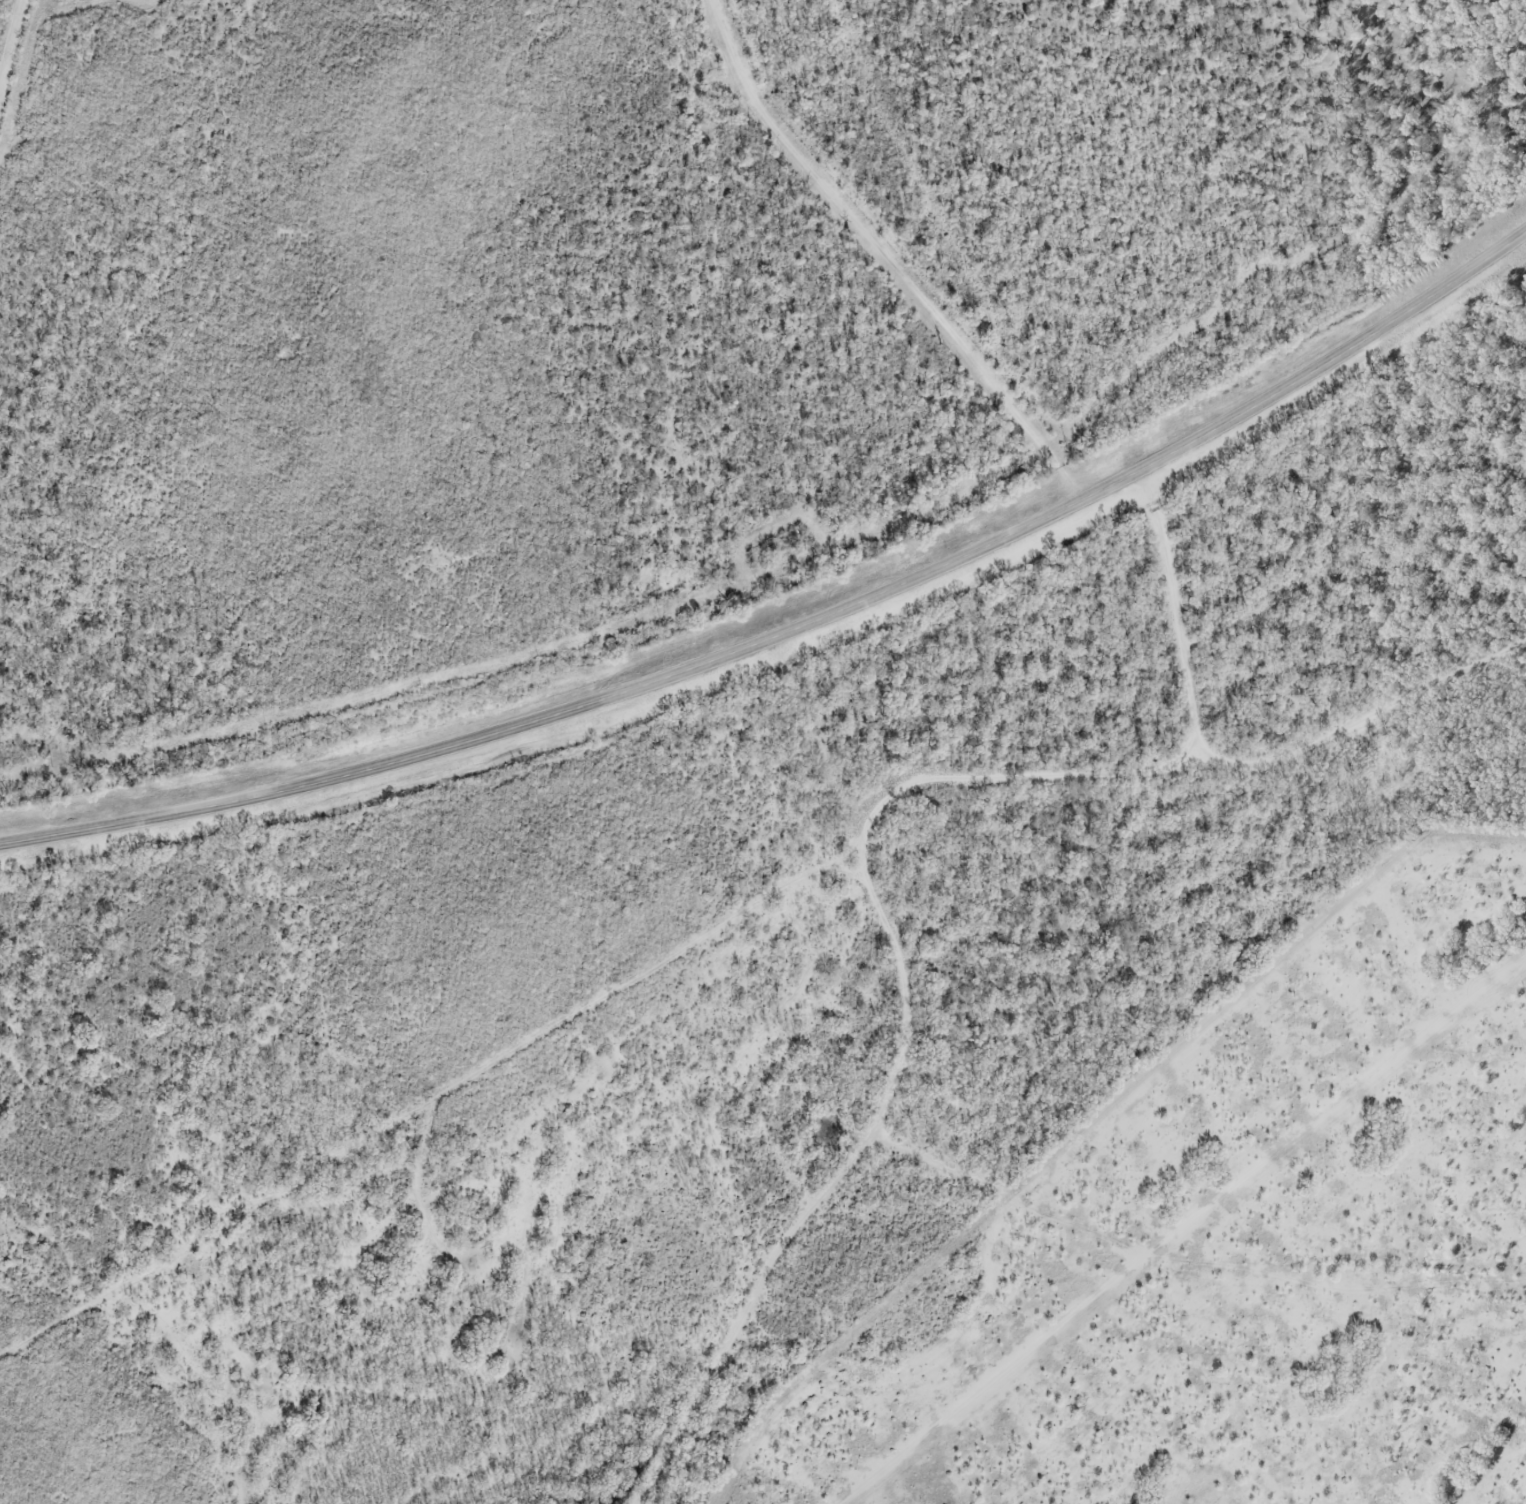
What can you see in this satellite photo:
road: (907, 250)
road: (799, 629)
road: (1226, 769)
road: (915, 777)
road: (835, 1181)

